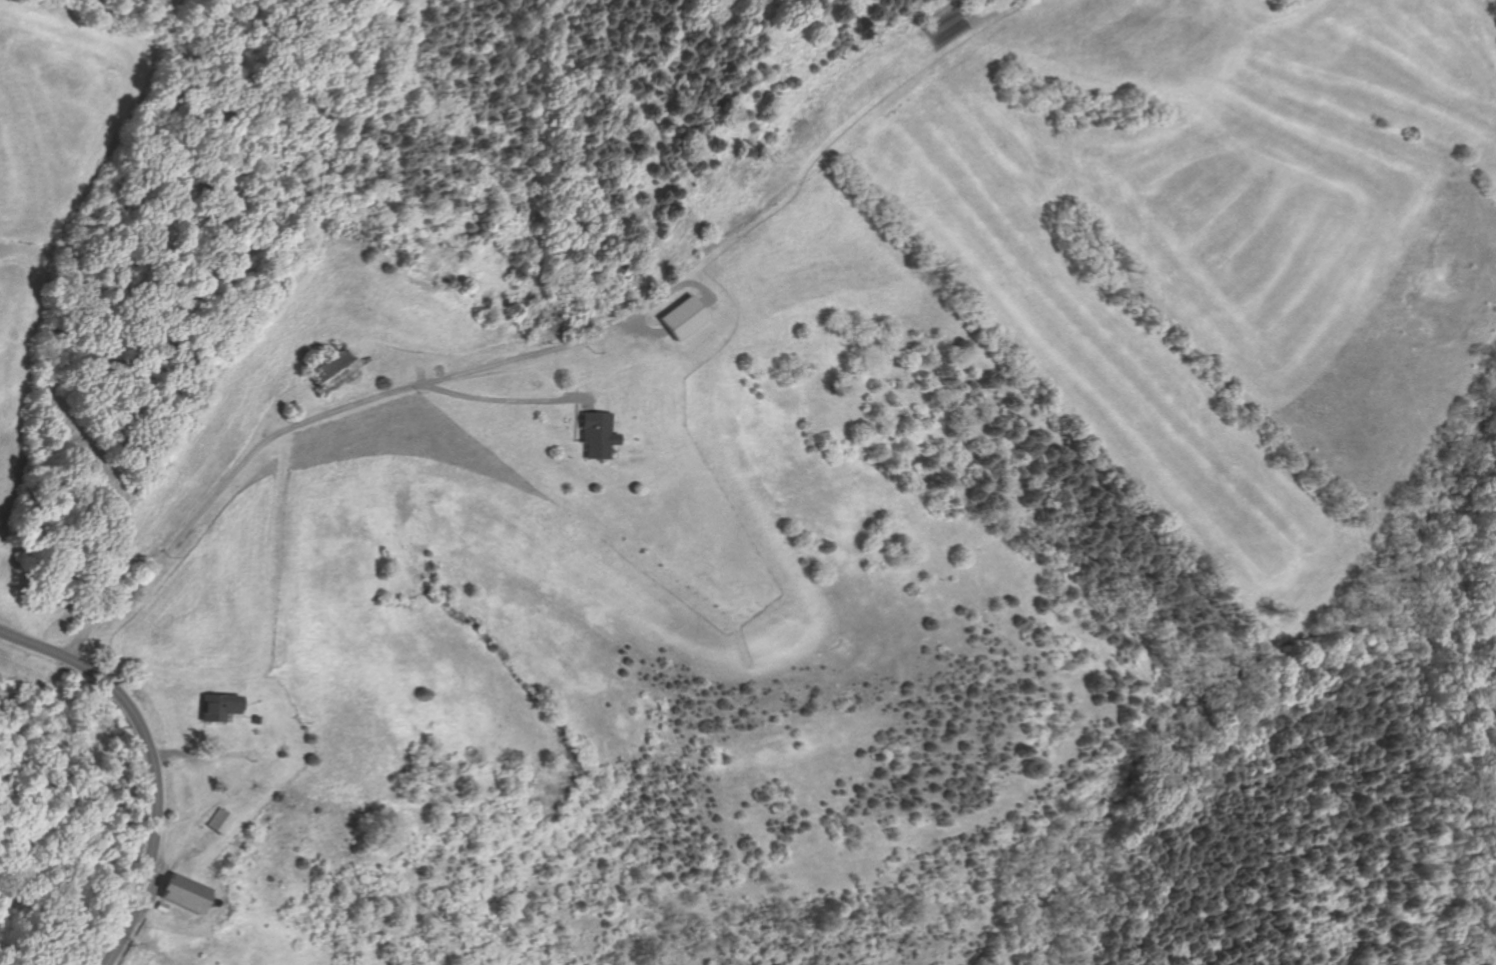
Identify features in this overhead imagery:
building: (683, 318)
road: (646, 329)
road: (569, 343)
building: (328, 370)
road: (434, 373)
road: (285, 428)
building: (596, 435)
building: (19, 690)
building: (217, 707)
building: (252, 720)
building: (279, 754)
road: (151, 762)
building: (219, 820)
building: (182, 892)
building: (160, 906)

